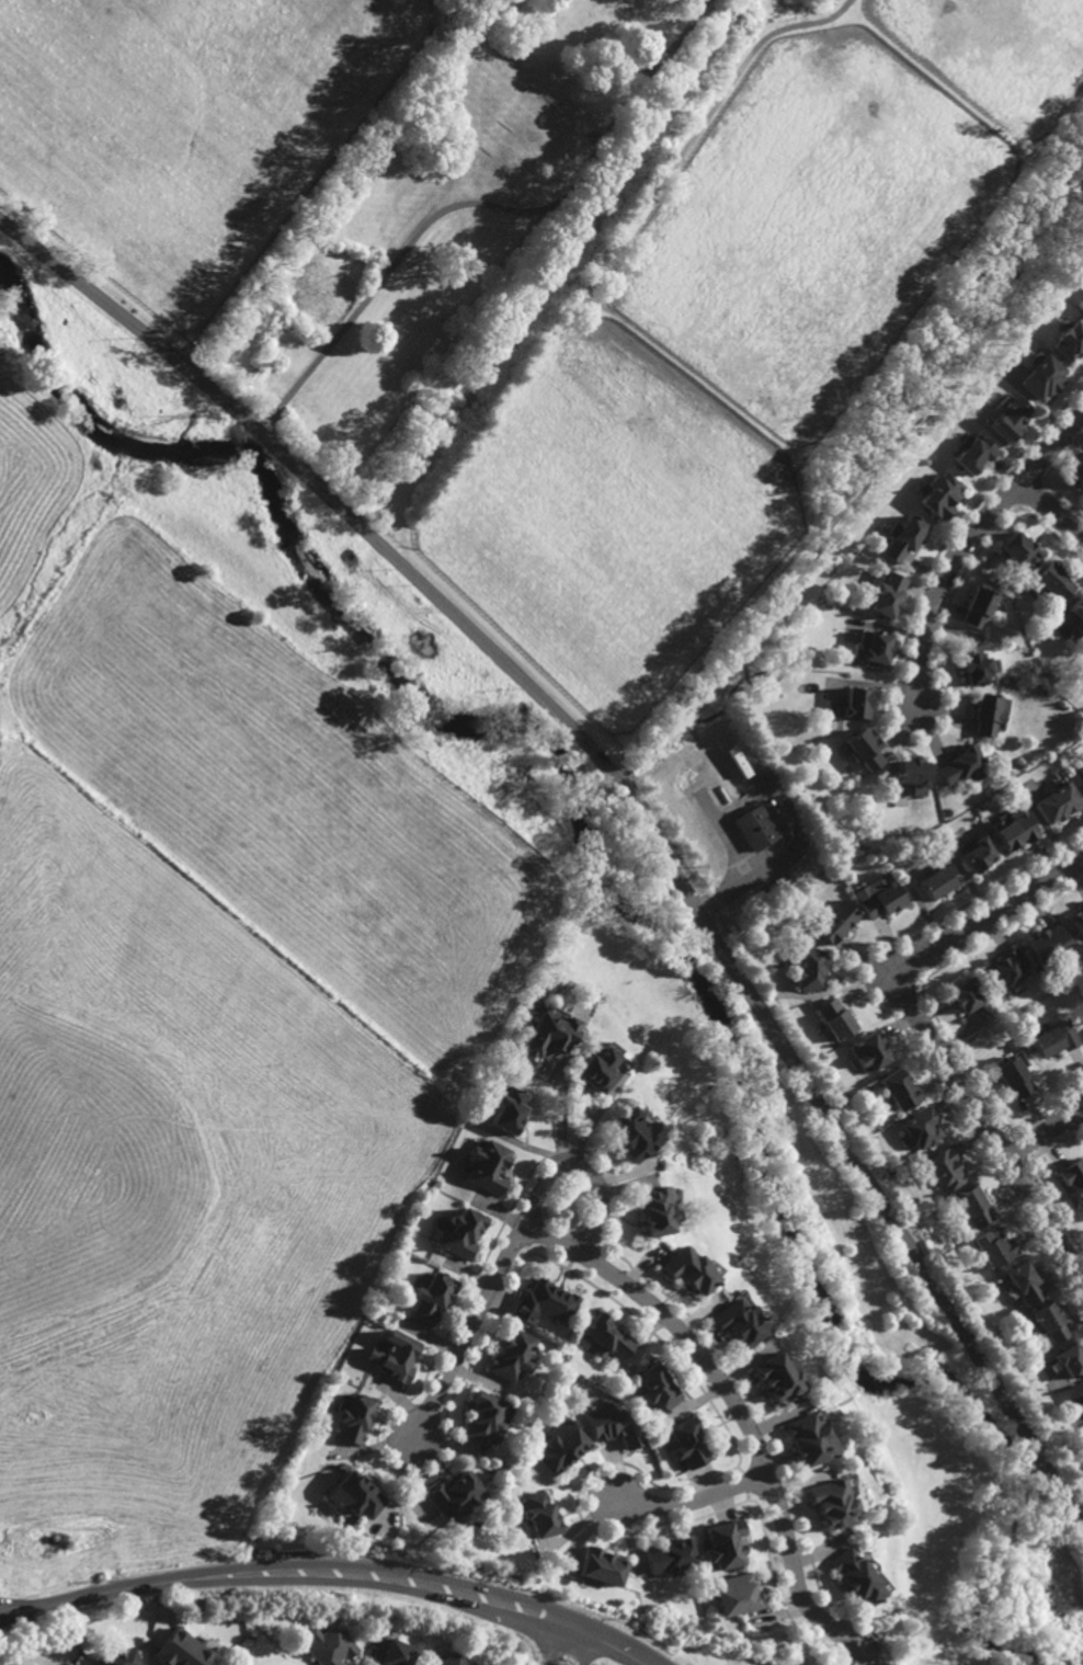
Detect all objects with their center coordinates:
road: (688, 142)
road: (481, 204)
building: (1082, 308)
building: (1069, 341)
building: (1044, 377)
road: (260, 414)
building: (1011, 418)
building: (976, 454)
building: (1078, 474)
building: (941, 495)
road: (1052, 511)
road: (969, 539)
building: (903, 540)
building: (1021, 552)
building: (1054, 581)
building: (885, 593)
building: (979, 604)
building: (1079, 609)
building: (876, 645)
building: (976, 662)
building: (855, 700)
building: (990, 710)
building: (865, 746)
building: (964, 764)
building: (912, 769)
building: (1080, 772)
road: (631, 796)
building: (1060, 801)
building: (755, 828)
building: (1016, 829)
building: (979, 853)
building: (937, 881)
building: (882, 900)
building: (836, 921)
building: (1078, 921)
building: (1049, 945)
building: (810, 969)
building: (1007, 970)
building: (964, 995)
building: (834, 1019)
road: (927, 1030)
building: (554, 1035)
building: (1056, 1039)
building: (868, 1052)
building: (596, 1069)
building: (1015, 1077)
building: (899, 1091)
road: (1071, 1099)
building: (511, 1110)
road: (559, 1114)
building: (920, 1131)
building: (630, 1136)
road: (1041, 1136)
building: (489, 1167)
building: (945, 1170)
road: (586, 1171)
building: (1074, 1178)
building: (972, 1208)
building: (652, 1213)
building: (463, 1235)
building: (994, 1251)
building: (684, 1273)
building: (1023, 1287)
building: (432, 1300)
building: (546, 1304)
building: (734, 1321)
building: (1048, 1322)
road: (471, 1331)
building: (606, 1336)
building: (395, 1356)
building: (1069, 1357)
building: (509, 1358)
building: (774, 1373)
building: (654, 1387)
building: (1081, 1392)
building: (482, 1414)
road: (741, 1414)
building: (352, 1415)
building: (607, 1423)
building: (806, 1438)
building: (685, 1440)
building: (558, 1444)
building: (354, 1492)
building: (452, 1494)
road: (693, 1501)
building: (829, 1502)
building: (536, 1513)
building: (722, 1542)
building: (669, 1555)
building: (37, 1559)
road: (339, 1570)
building: (603, 1570)
building: (854, 1576)
building: (733, 1594)
road: (8, 1609)
road: (8, 1613)
road: (556, 1642)
building: (329, 1644)
road: (584, 1649)
building: (179, 1650)
building: (390, 1652)
building: (119, 1657)
building: (451, 1660)
building: (71, 1664)

